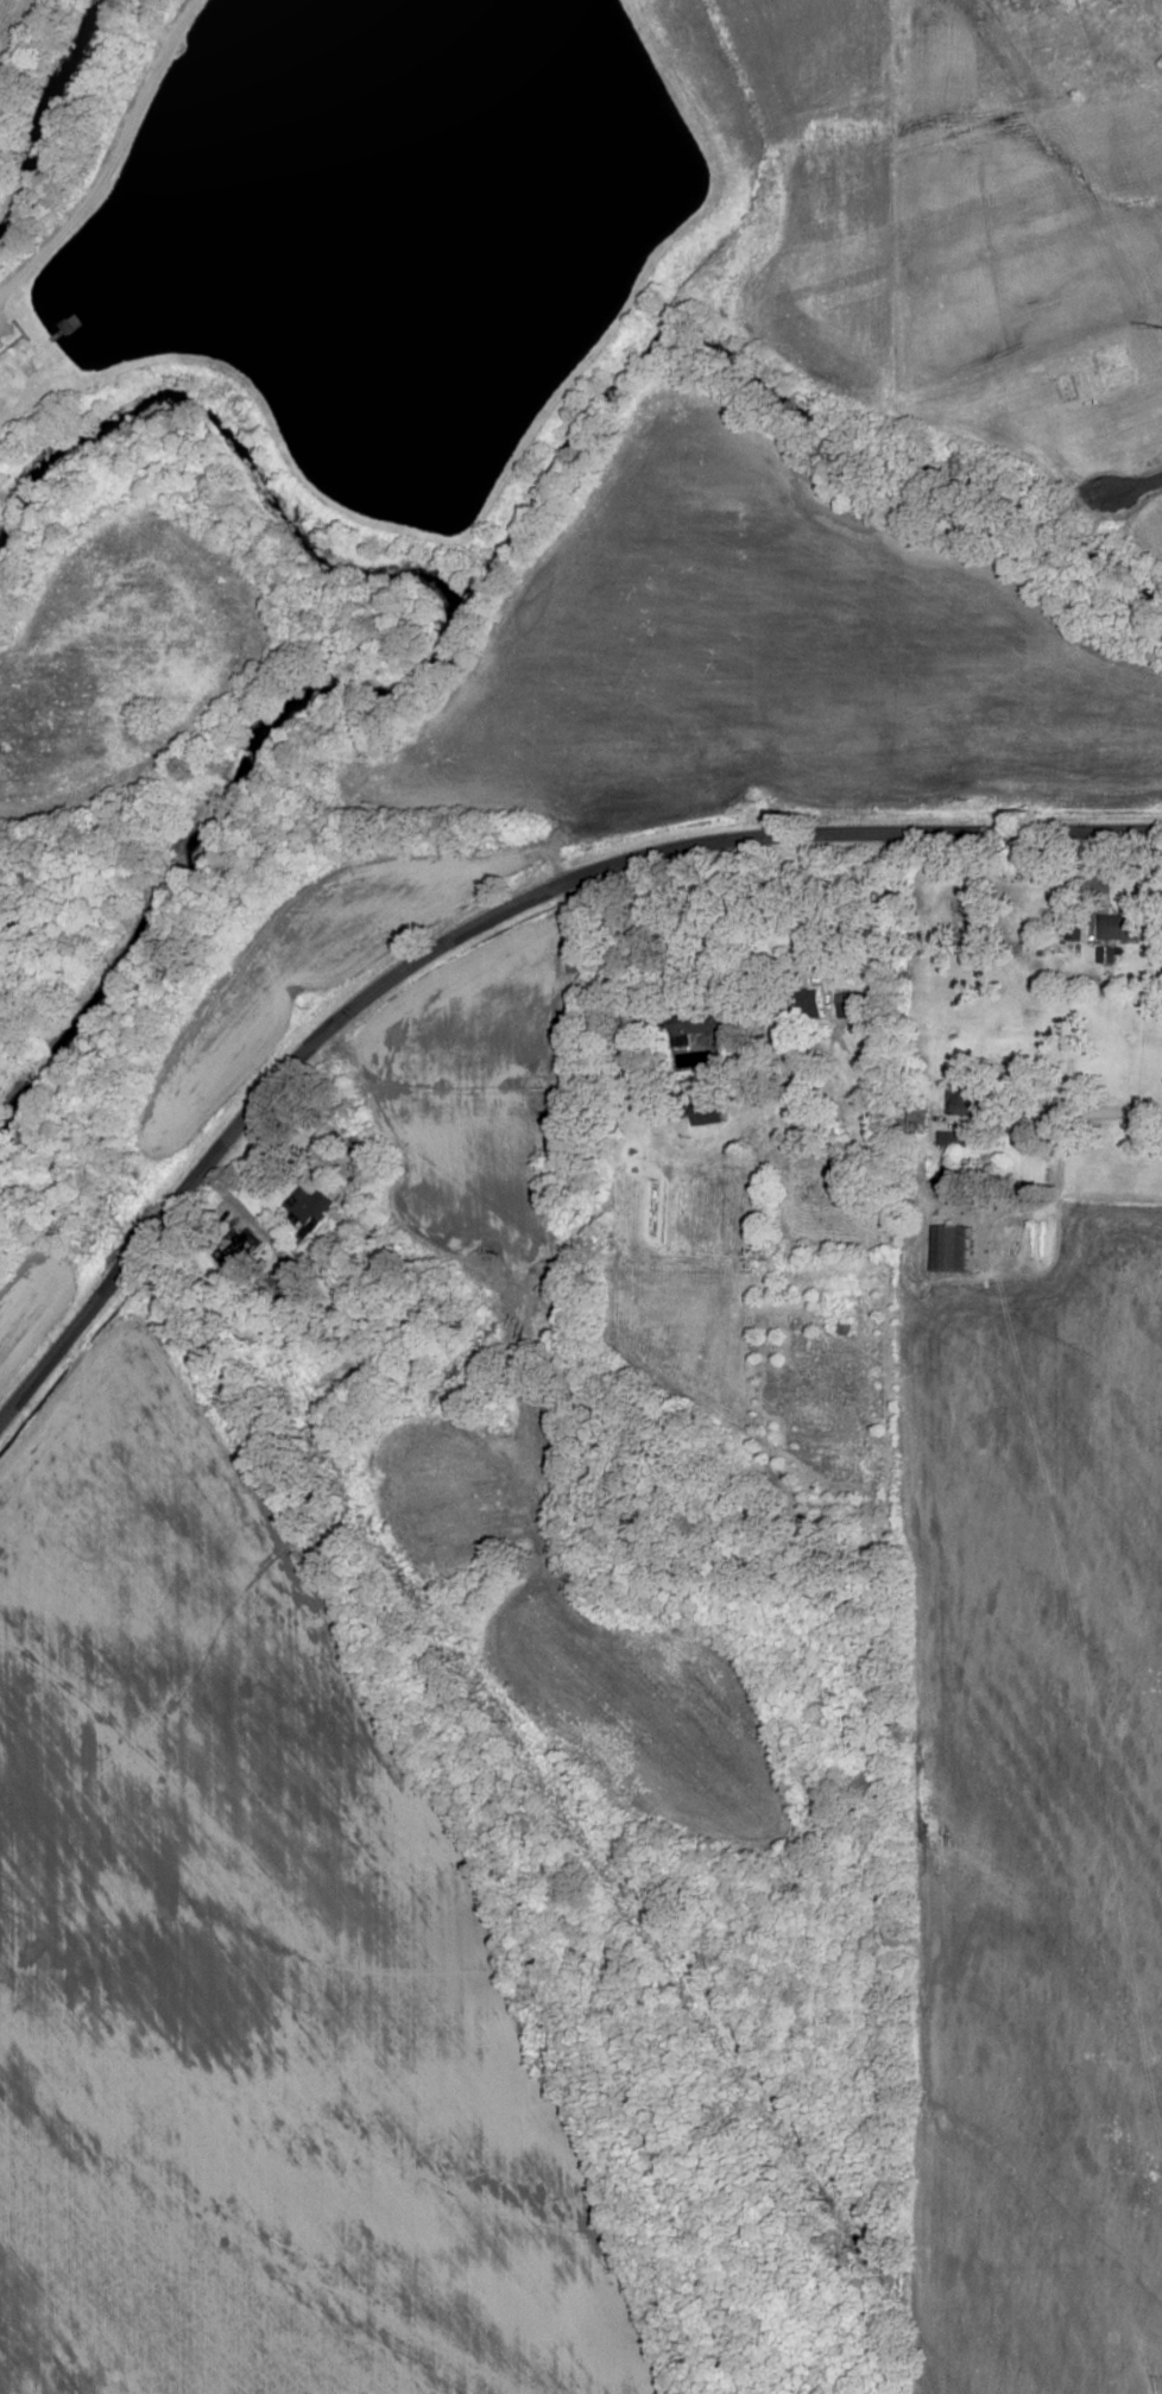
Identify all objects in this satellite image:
building: (26, 355)
road: (478, 920)
building: (1118, 927)
building: (807, 1004)
building: (851, 1005)
building: (695, 1027)
building: (959, 1101)
building: (705, 1112)
road: (1094, 1116)
building: (917, 1120)
building: (947, 1138)
building: (308, 1207)
road: (251, 1228)
building: (951, 1247)
road: (86, 1577)

